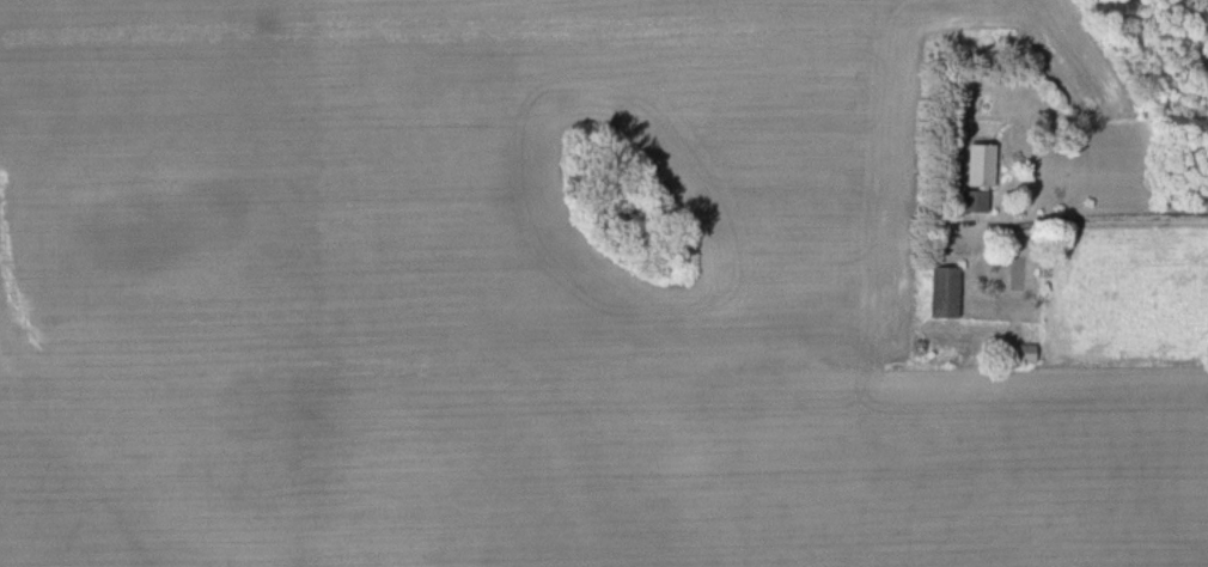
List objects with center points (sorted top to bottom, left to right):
building: (975, 179)
road: (1119, 225)
building: (940, 292)

